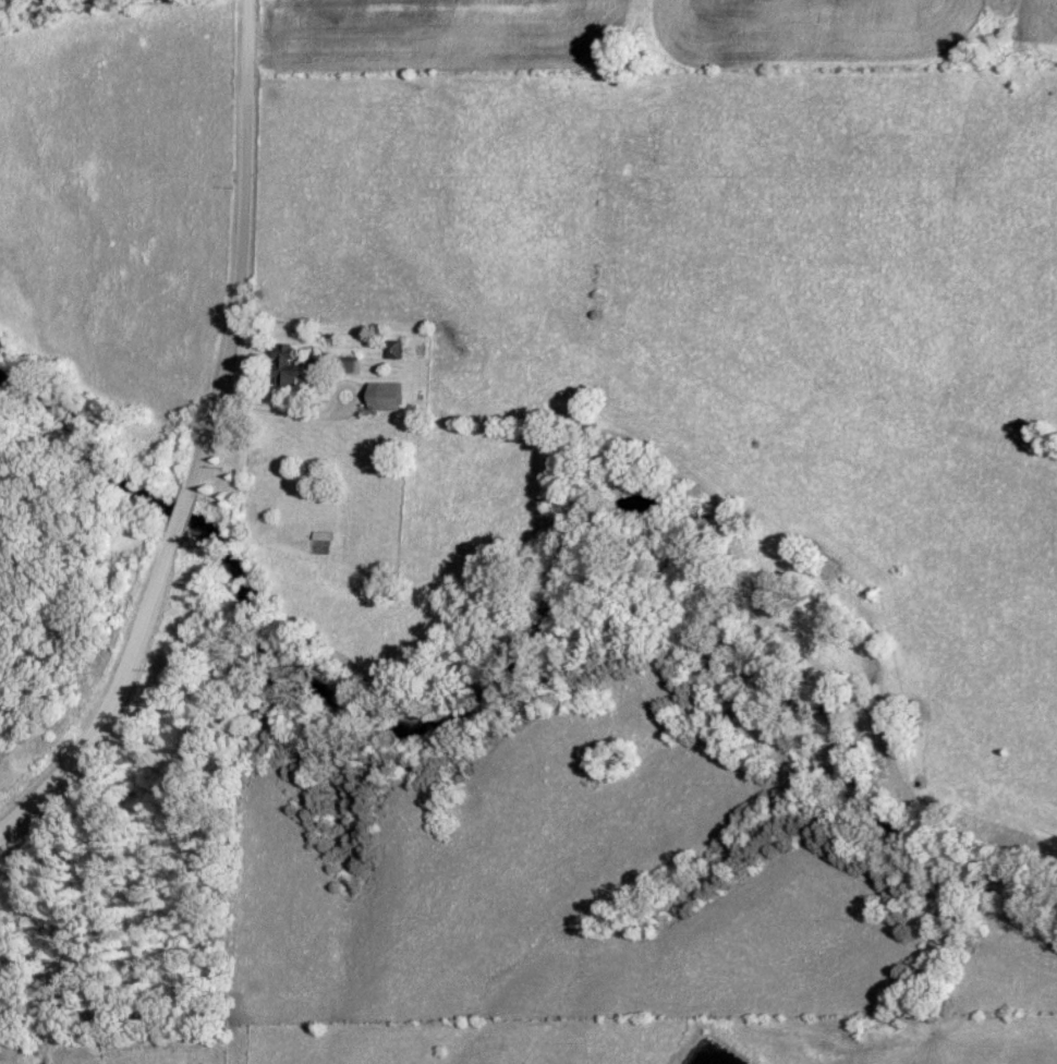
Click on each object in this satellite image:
road: (242, 249)
building: (342, 365)
building: (285, 366)
building: (382, 397)
road: (317, 420)
road: (181, 511)
building: (319, 536)
road: (109, 692)

